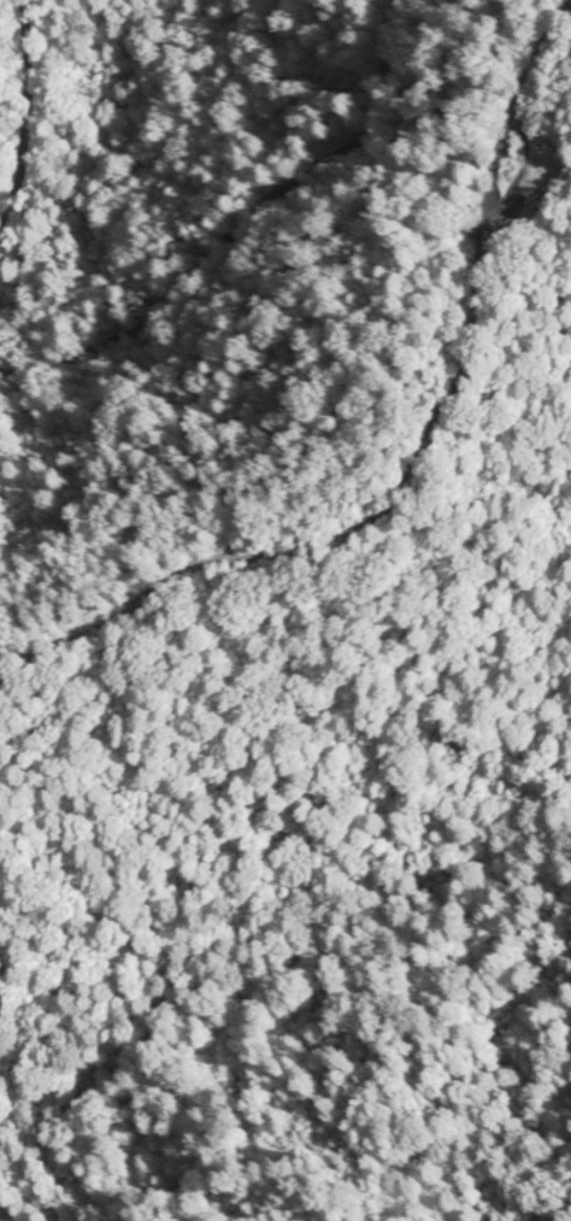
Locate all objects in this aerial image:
road: (10, 122)
road: (257, 257)
road: (305, 567)

